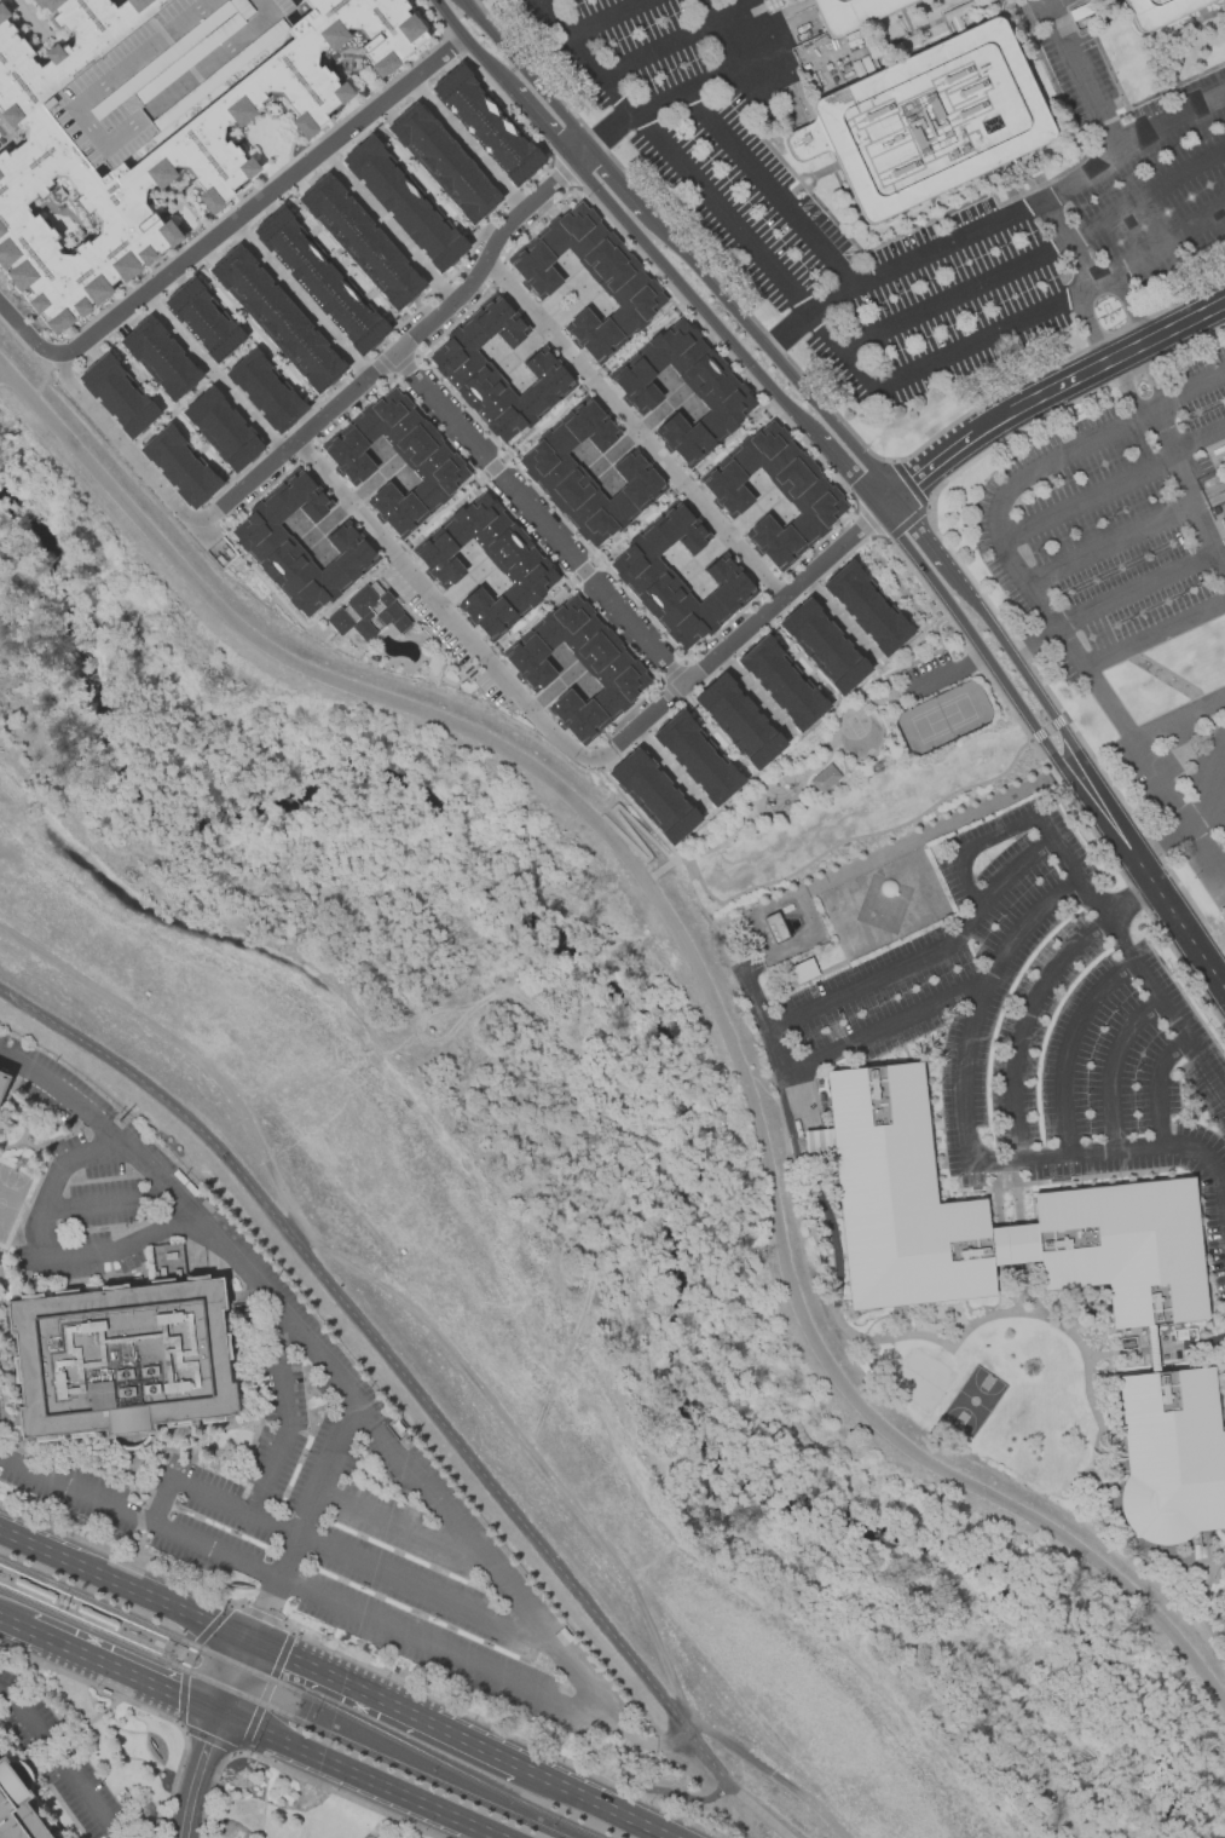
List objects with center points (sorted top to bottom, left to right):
parking lot: (470, 2)
building: (1165, 11)
building: (857, 15)
road: (35, 16)
road: (46, 16)
park: (28, 18)
road: (609, 19)
road: (456, 42)
road: (655, 52)
road: (723, 56)
road: (435, 58)
building: (158, 71)
parking garage: (158, 71)
road: (353, 73)
road: (526, 75)
road: (1082, 80)
road: (684, 94)
road: (273, 116)
road: (331, 121)
building: (931, 121)
building: (485, 122)
road: (285, 127)
road: (10, 136)
building: (156, 137)
road: (603, 137)
road: (464, 144)
road: (670, 156)
building: (443, 162)
road: (275, 171)
road: (243, 189)
road: (772, 191)
building: (58, 192)
road: (236, 194)
parking lot: (1120, 200)
building: (404, 203)
road: (184, 204)
road: (63, 212)
road: (1021, 213)
road: (238, 215)
road: (175, 219)
road: (536, 219)
road: (386, 225)
building: (360, 240)
road: (1069, 244)
road: (157, 259)
road: (1036, 259)
road: (149, 263)
road: (496, 271)
building: (319, 280)
road: (120, 284)
building: (629, 288)
road: (297, 300)
road: (1132, 307)
road: (697, 317)
building: (276, 318)
building: (202, 319)
road: (1007, 329)
road: (1091, 330)
road: (787, 332)
road: (638, 335)
road: (30, 338)
road: (53, 358)
building: (158, 358)
road: (417, 361)
road: (376, 365)
road: (406, 368)
building: (463, 370)
road: (210, 374)
road: (386, 376)
road: (1158, 376)
road: (347, 378)
road: (397, 378)
road: (762, 378)
road: (591, 379)
building: (713, 388)
building: (265, 391)
road: (1054, 391)
building: (119, 393)
road: (1190, 393)
road: (31, 394)
road: (1126, 394)
road: (543, 425)
road: (310, 427)
road: (635, 427)
building: (221, 430)
road: (1198, 436)
road: (730, 437)
road: (850, 445)
road: (305, 453)
building: (428, 459)
building: (180, 465)
road: (492, 466)
building: (555, 474)
road: (682, 482)
road: (1013, 484)
road: (1190, 488)
building: (807, 491)
road: (492, 494)
road: (1087, 496)
road: (883, 500)
road: (550, 506)
road: (441, 509)
road: (538, 519)
road: (862, 524)
road: (631, 526)
road: (1111, 542)
building: (299, 547)
road: (393, 553)
building: (521, 563)
road: (583, 570)
building: (645, 575)
parking lot: (1126, 581)
road: (360, 583)
road: (770, 583)
road: (1136, 587)
road: (790, 604)
building: (867, 609)
building: (368, 611)
road: (533, 612)
parking lot: (424, 613)
road: (420, 621)
road: (308, 624)
road: (1154, 634)
road: (401, 636)
road: (1032, 638)
building: (824, 645)
road: (485, 656)
road: (925, 657)
road: (393, 658)
road: (678, 659)
building: (611, 666)
road: (668, 667)
road: (947, 674)
building: (781, 682)
road: (658, 686)
parking lot: (490, 688)
road: (666, 697)
road: (623, 713)
park: (942, 718)
road: (1177, 718)
building: (739, 721)
park: (860, 734)
road: (567, 745)
road: (879, 749)
road: (1136, 751)
road: (597, 757)
building: (695, 757)
park: (865, 765)
road: (843, 773)
building: (824, 777)
building: (653, 795)
road: (1208, 797)
road: (791, 811)
road: (859, 836)
road: (911, 840)
road: (972, 845)
road: (715, 846)
road: (1057, 848)
road: (671, 863)
road: (660, 870)
road: (1016, 870)
road: (649, 878)
road: (1148, 878)
road: (1221, 880)
road: (1127, 900)
building: (775, 927)
road: (698, 967)
road: (1151, 987)
road: (753, 995)
parking lot: (1017, 1020)
road: (1022, 1025)
road: (772, 1036)
road: (1067, 1044)
road: (1115, 1066)
building: (1, 1073)
building: (4, 1083)
river: (668, 1084)
road: (1157, 1085)
road: (796, 1119)
road: (967, 1145)
park: (10, 1198)
building: (1117, 1198)
road: (108, 1204)
road: (51, 1249)
road: (1025, 1312)
fountain: (1104, 1318)
fountain: (1094, 1330)
road: (451, 1352)
road: (1156, 1352)
building: (1156, 1353)
building: (121, 1359)
park: (908, 1370)
road: (327, 1371)
park: (929, 1385)
road: (415, 1392)
park: (984, 1394)
park: (973, 1401)
road: (284, 1413)
parking lot: (290, 1445)
building: (1174, 1456)
road: (139, 1519)
road: (304, 1523)
road: (400, 1528)
road: (339, 1556)
road: (123, 1586)
park: (1215, 1600)
road: (1204, 1608)
road: (11, 1624)
traffic signals: (248, 1640)
railway: (166, 1642)
road: (177, 1650)
road: (446, 1653)
road: (363, 1663)
road: (117, 1671)
road: (231, 1675)
railway: (302, 1693)
road: (379, 1698)
traffic signals: (215, 1712)
railway: (283, 1712)
road: (206, 1738)
parking lot: (60, 1761)
road: (59, 1763)
road: (531, 1771)
road: (192, 1774)
road: (357, 1774)
road: (41, 1780)
building: (17, 1809)
road: (612, 1810)
building: (54, 1837)

